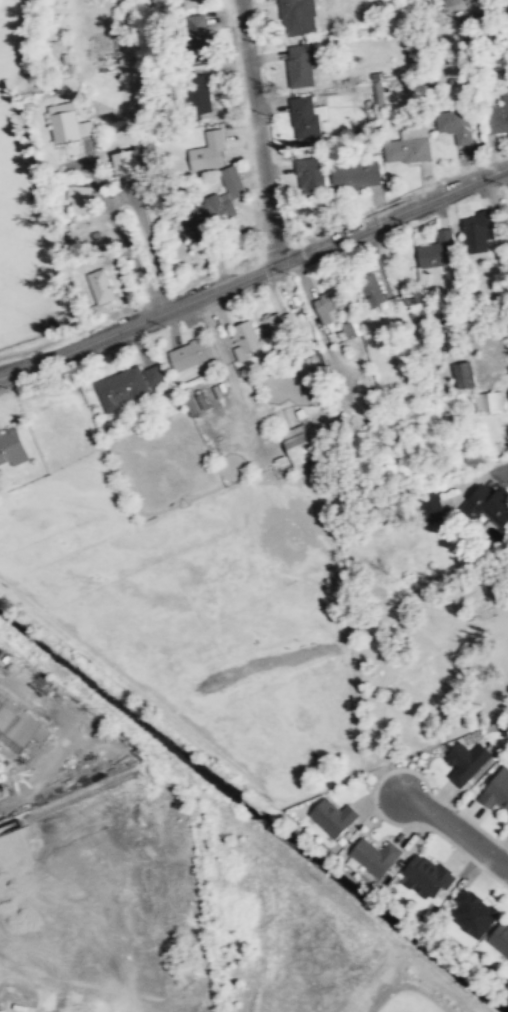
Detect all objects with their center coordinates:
building: (448, 2)
building: (191, 3)
building: (296, 14)
building: (196, 36)
building: (301, 65)
building: (375, 92)
building: (197, 95)
building: (304, 117)
building: (496, 117)
building: (65, 125)
building: (458, 128)
road: (257, 132)
building: (407, 150)
building: (208, 153)
building: (127, 162)
building: (310, 175)
building: (356, 176)
building: (80, 201)
road: (139, 207)
building: (211, 208)
building: (477, 232)
building: (437, 252)
road: (133, 257)
road: (254, 273)
building: (101, 287)
building: (371, 292)
building: (409, 295)
building: (329, 306)
building: (276, 332)
building: (245, 340)
building: (190, 355)
building: (463, 375)
building: (128, 387)
building: (489, 401)
building: (192, 406)
building: (296, 444)
building: (12, 446)
road: (497, 472)
building: (486, 505)
crop: (203, 610)
building: (19, 727)
building: (466, 763)
building: (497, 791)
railway: (66, 801)
building: (333, 818)
road: (456, 828)
building: (375, 857)
building: (427, 875)
building: (474, 913)
building: (500, 939)
building: (371, 987)

